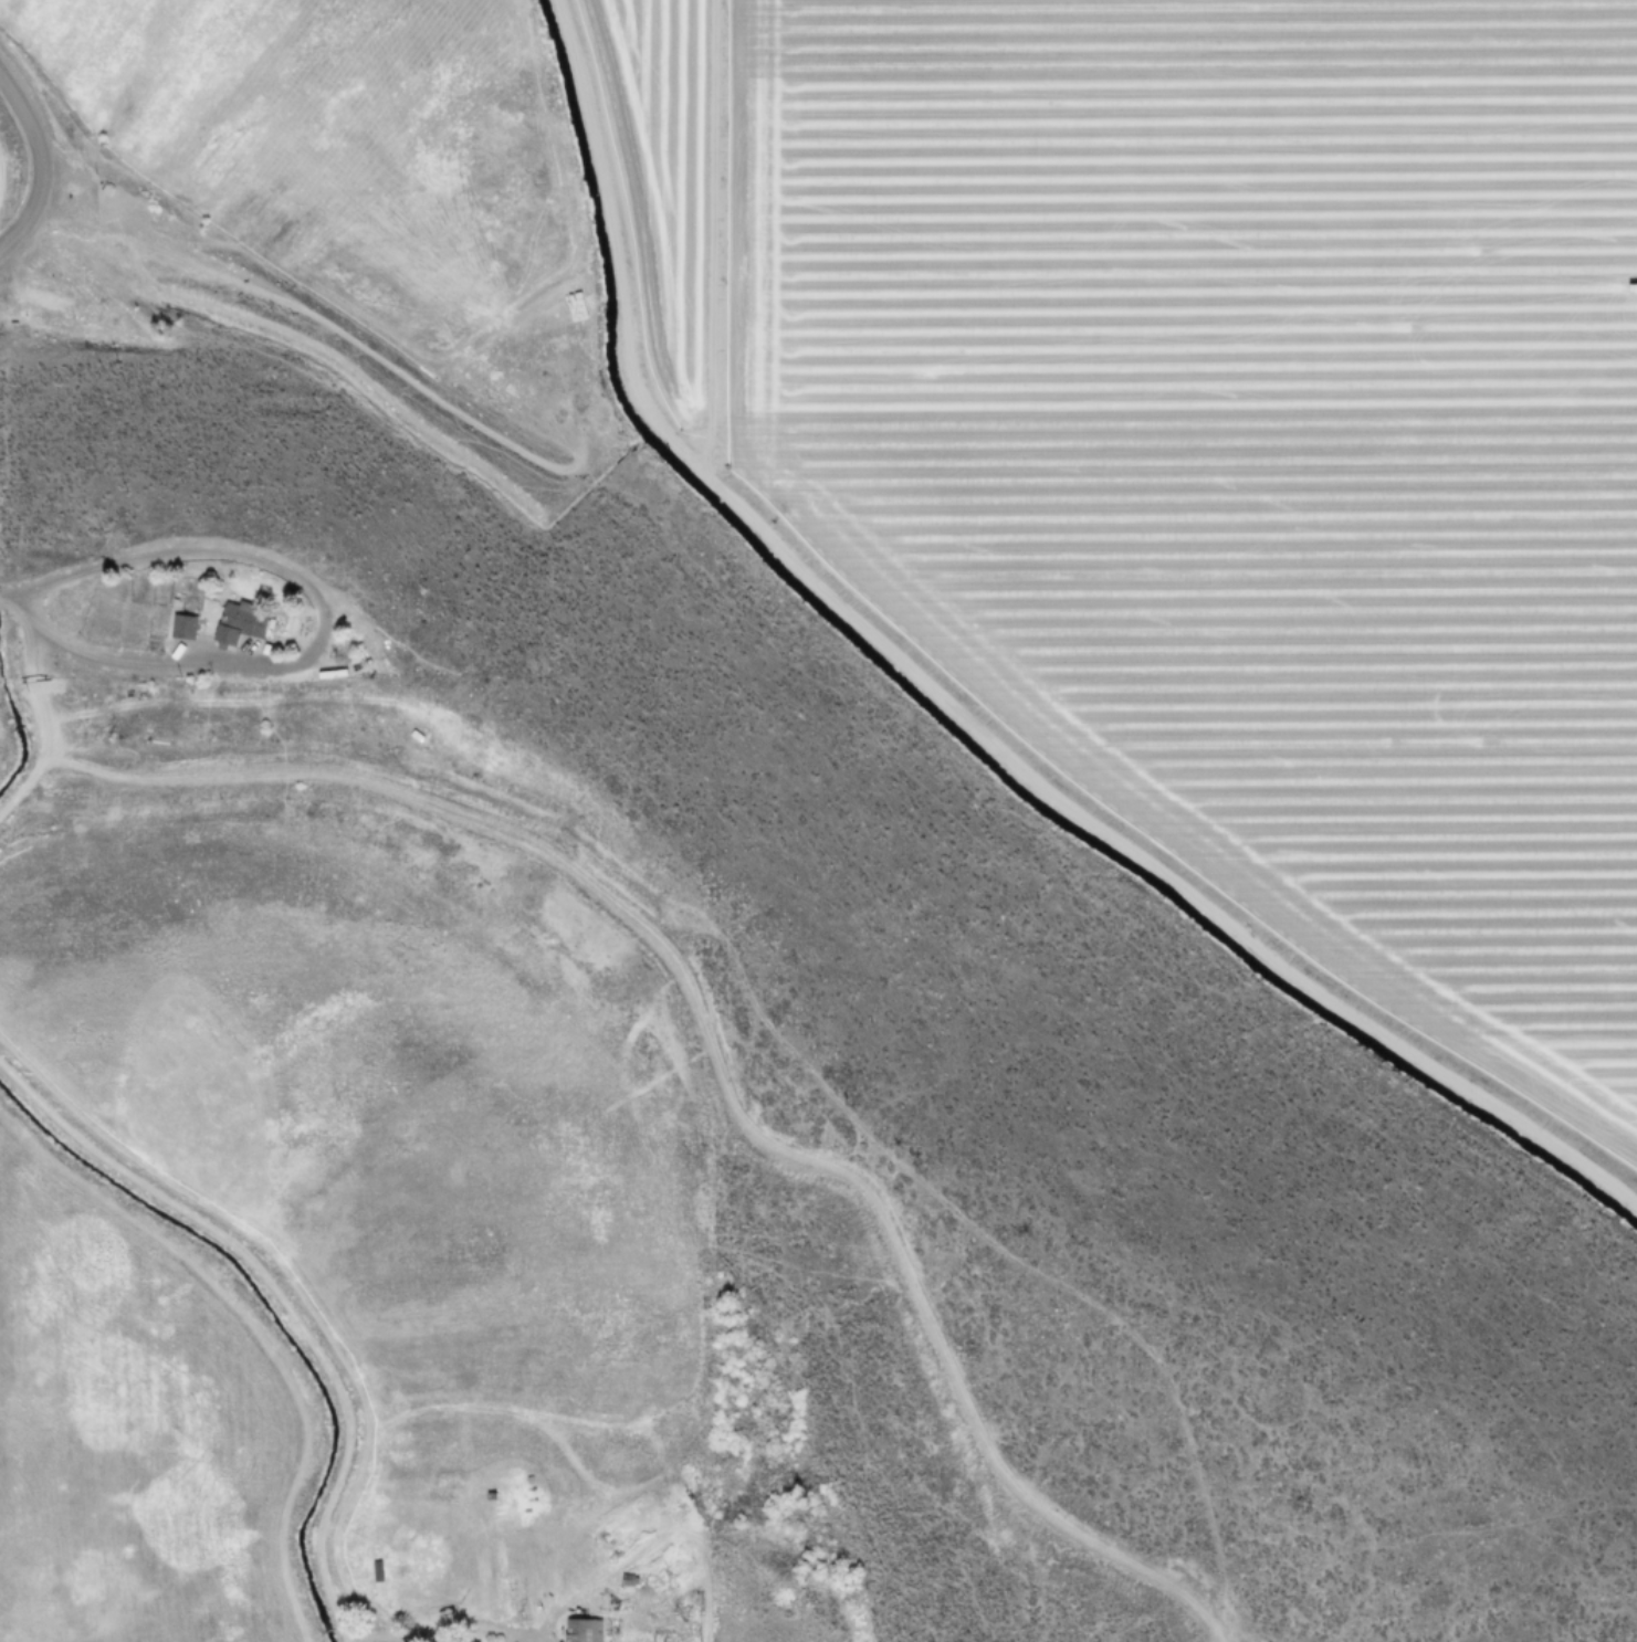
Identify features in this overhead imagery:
road: (40, 162)
building: (45, 302)
road: (316, 608)
building: (235, 621)
building: (181, 625)
road: (38, 705)
road: (279, 1295)
road: (437, 1629)
building: (581, 1629)
building: (464, 1641)

